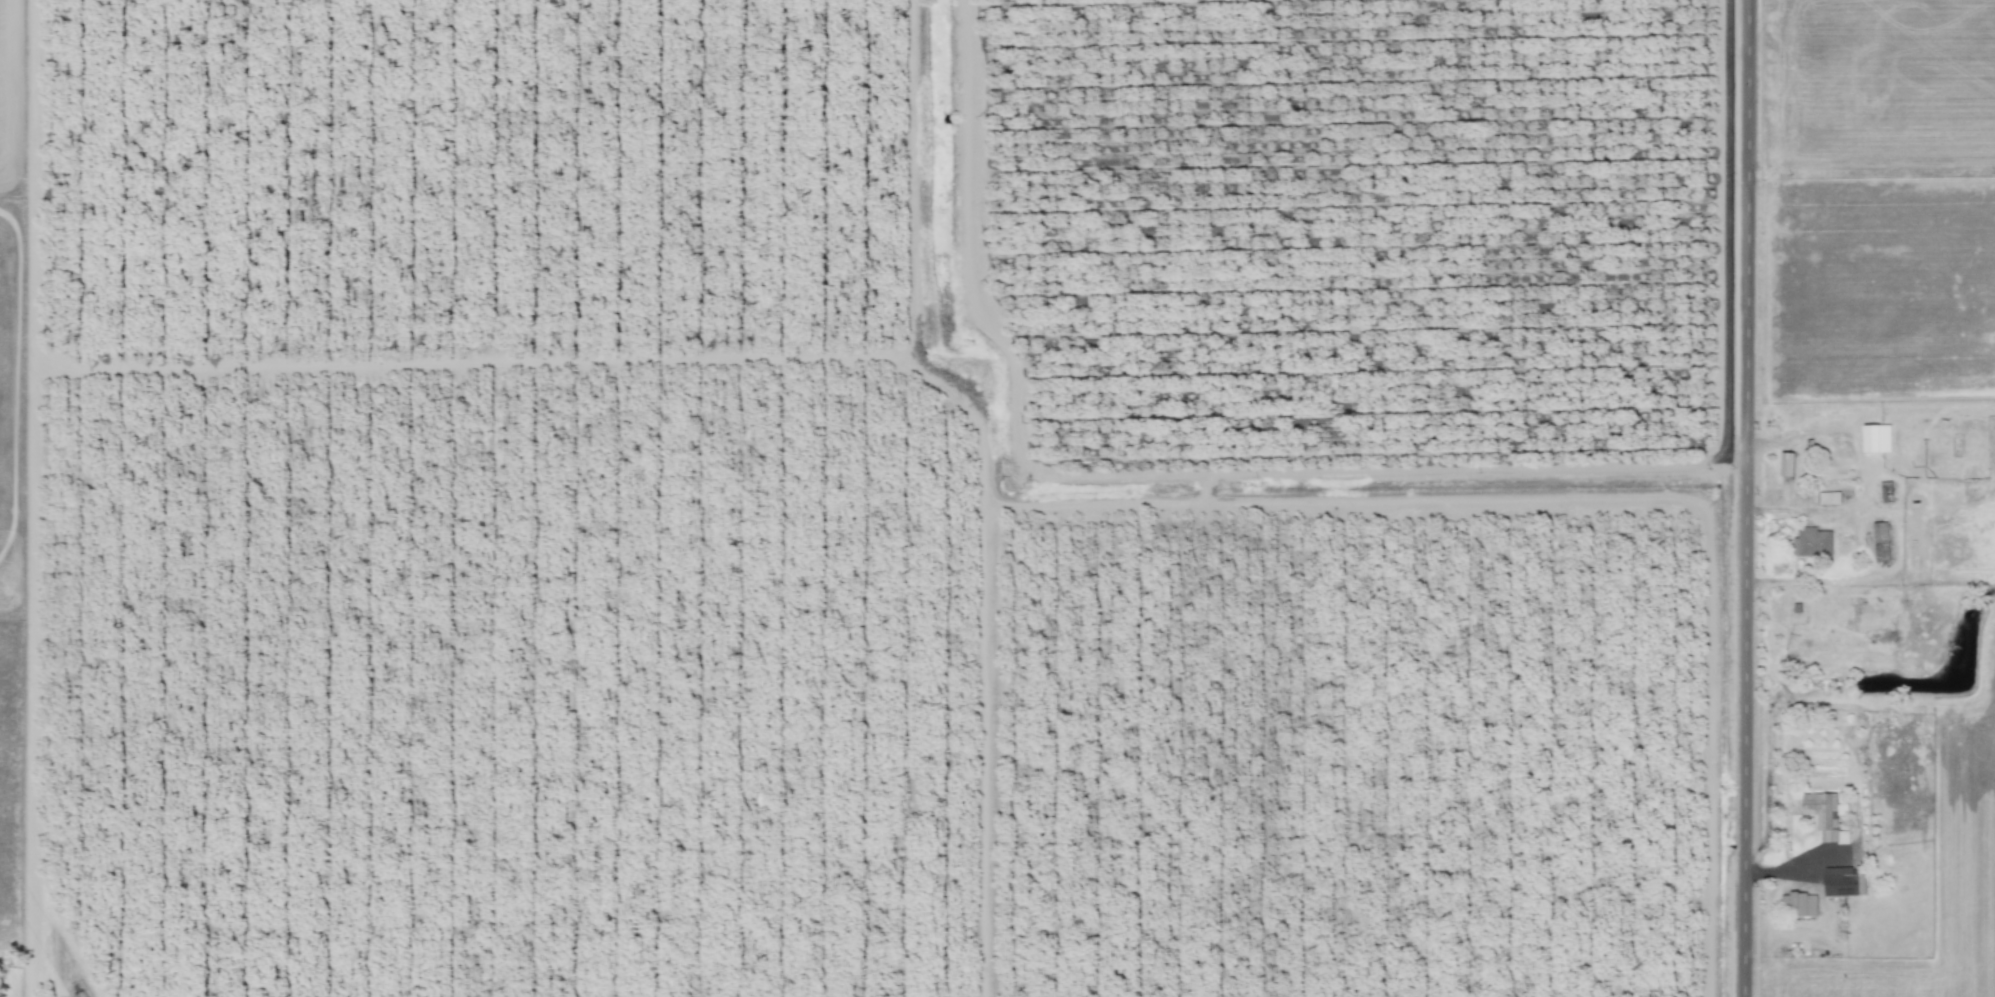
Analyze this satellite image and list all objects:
building: (1872, 438)
building: (1787, 463)
building: (1829, 497)
road: (1750, 498)
building: (1881, 538)
building: (1813, 542)
building: (1799, 904)
power tower: (78, 996)

